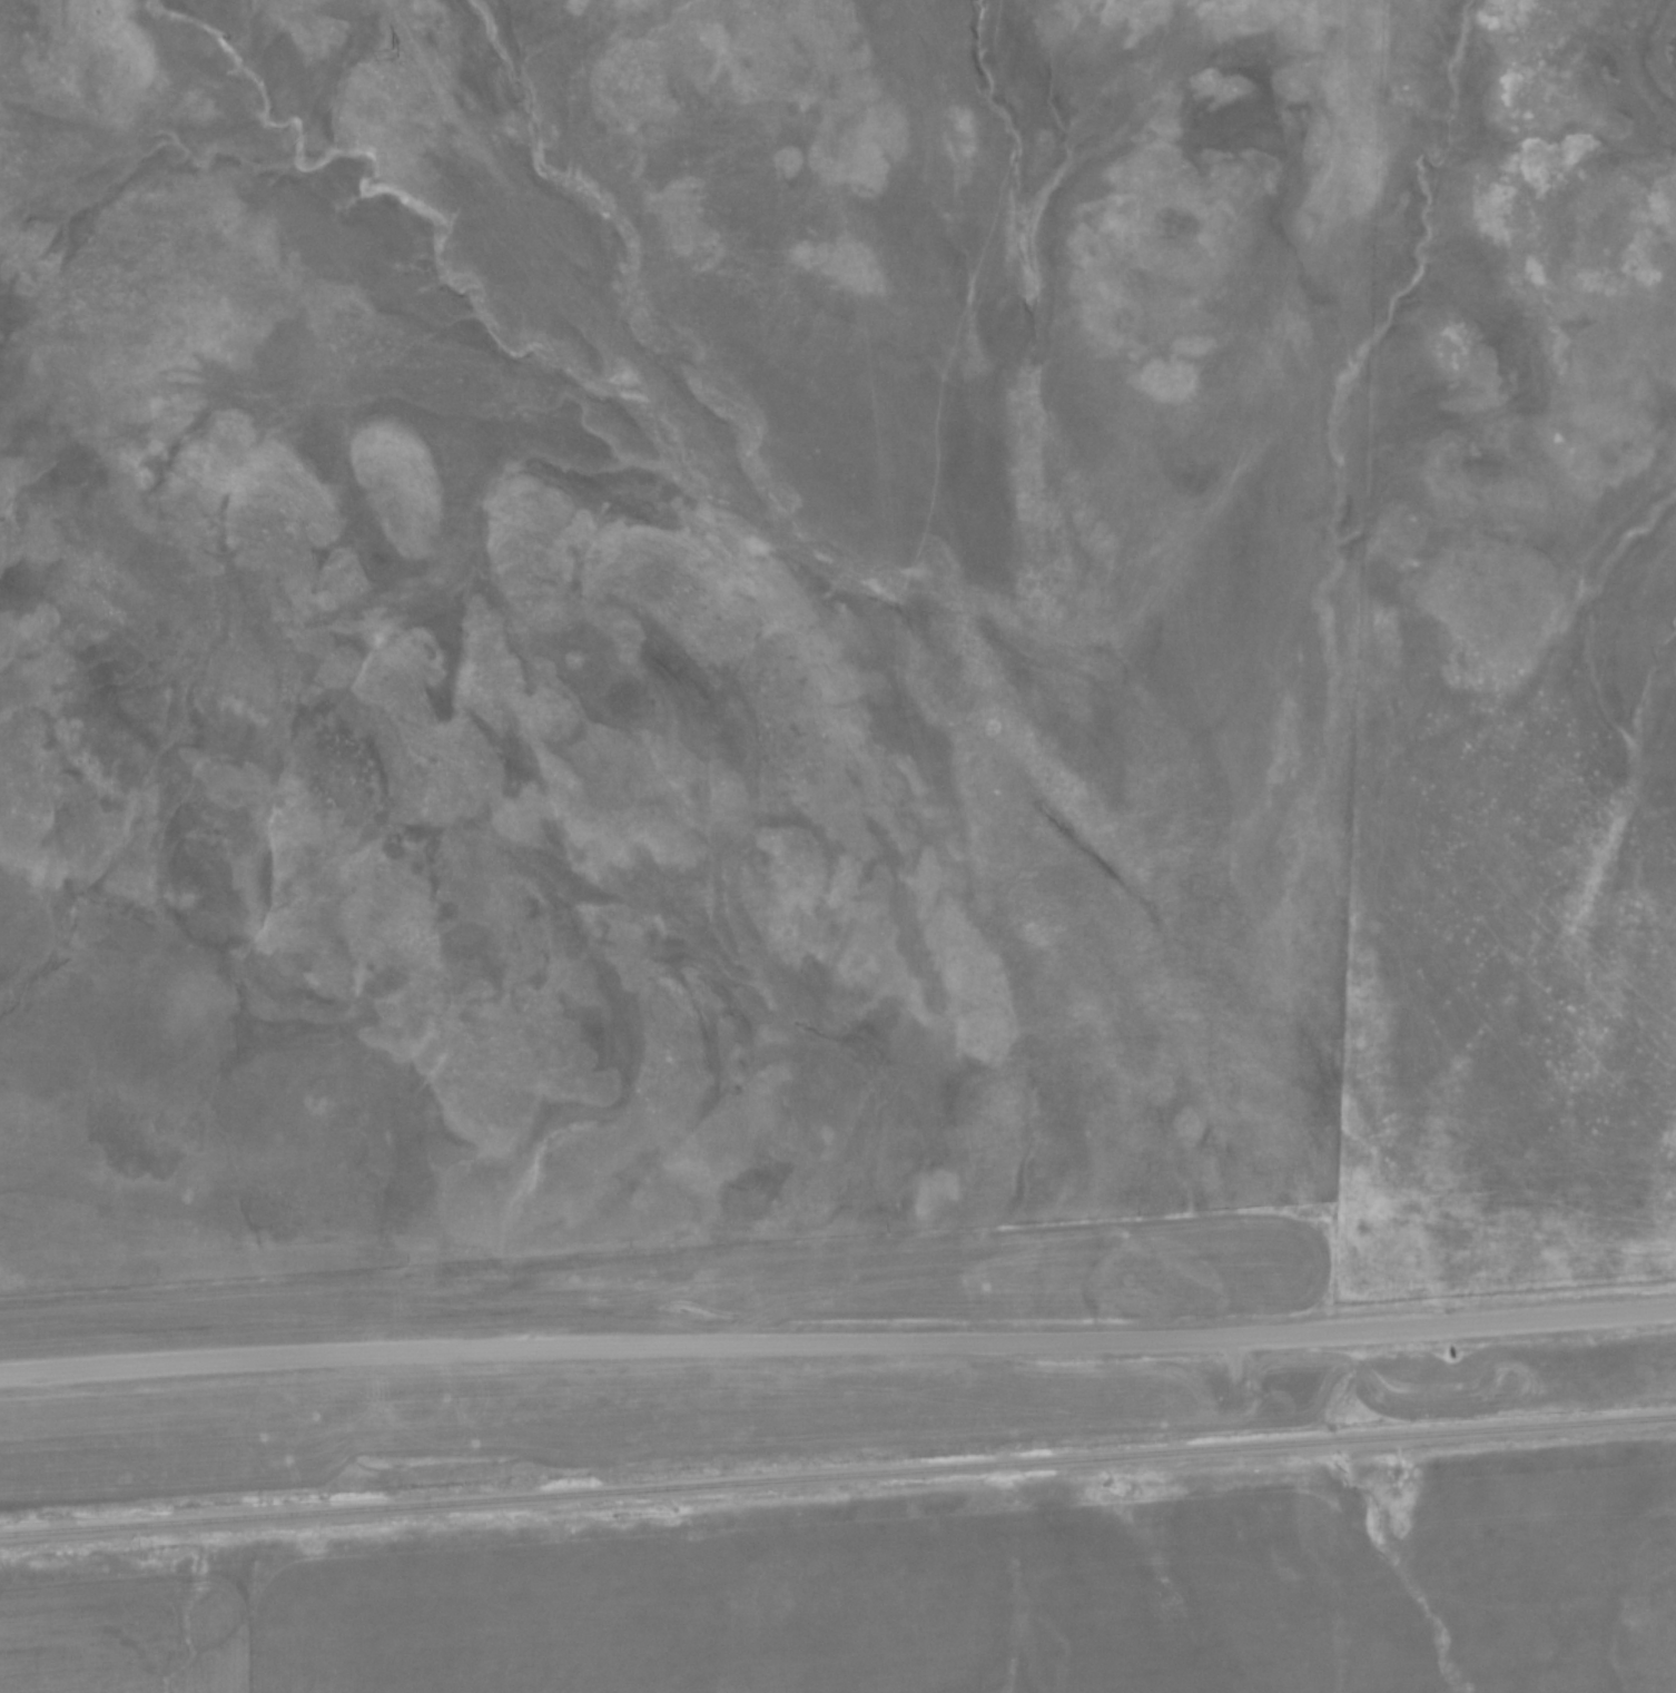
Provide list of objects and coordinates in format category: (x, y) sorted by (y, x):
power tower: (395, 53)
road: (838, 1343)
railway: (837, 1474)

